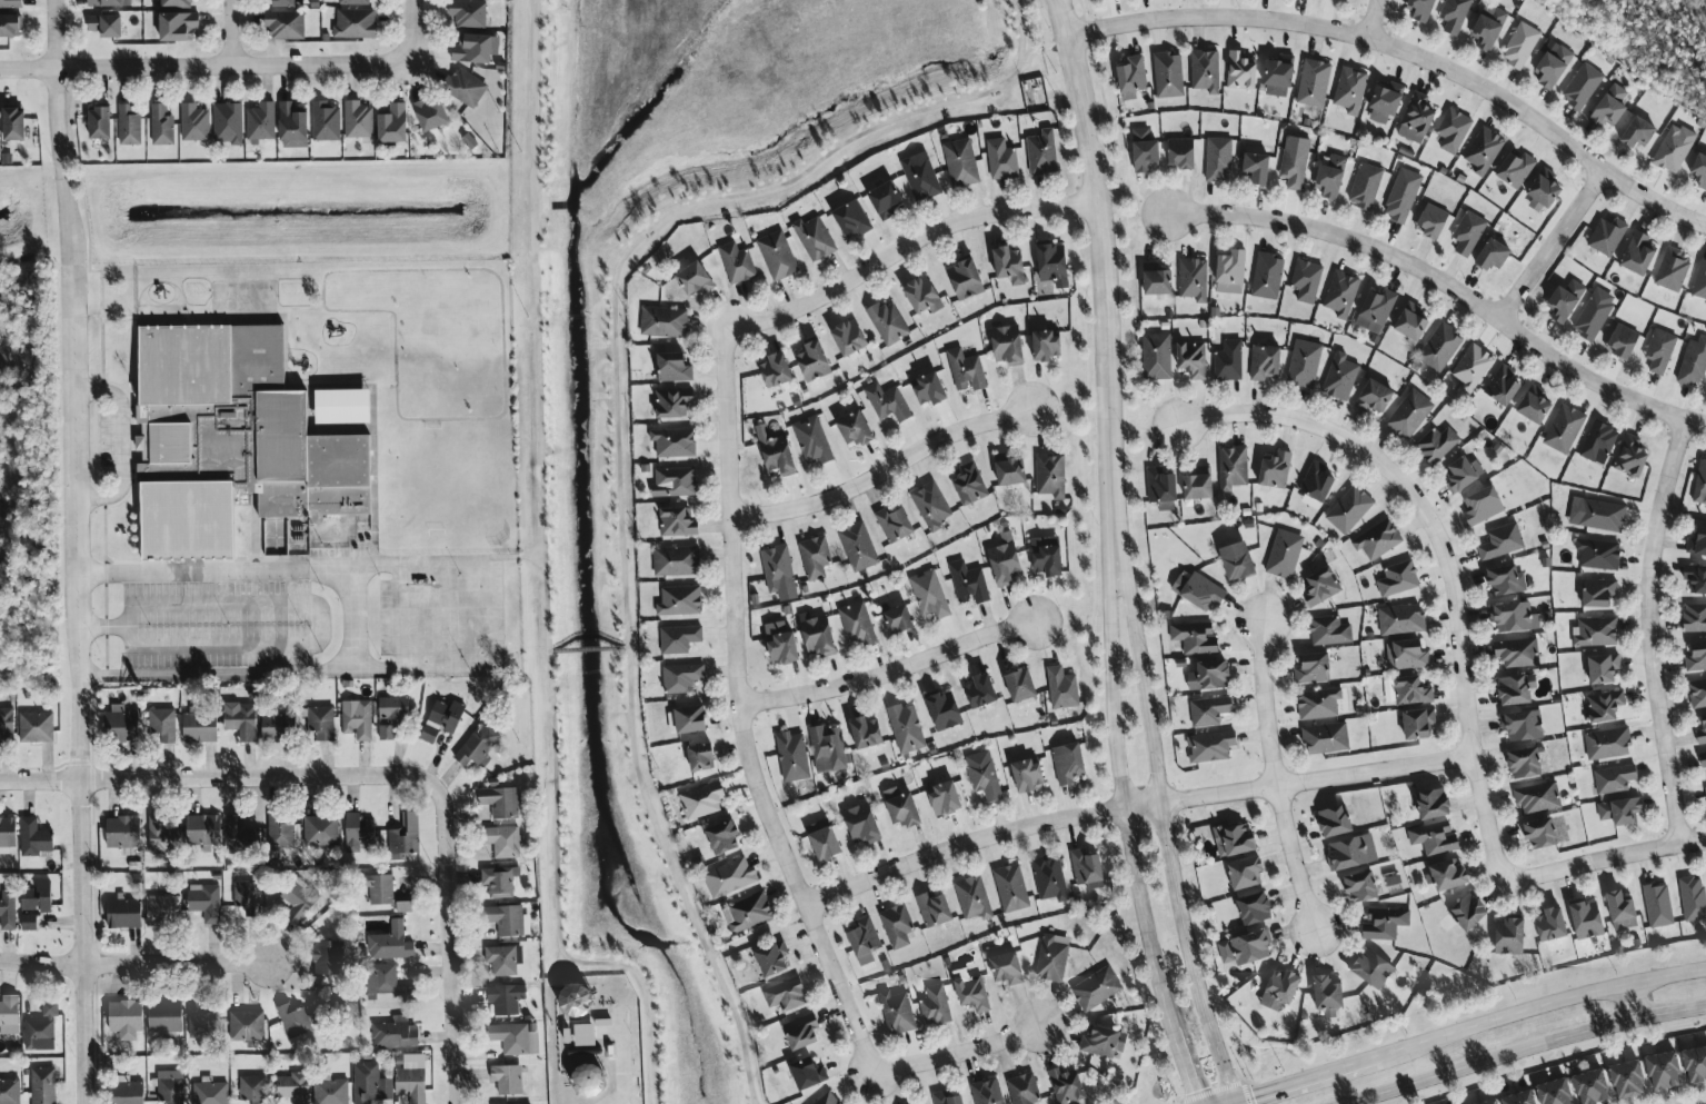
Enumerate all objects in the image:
building: (355, 2)
building: (10, 3)
building: (109, 3)
building: (176, 3)
building: (285, 3)
building: (1423, 10)
building: (468, 13)
building: (1455, 14)
road: (1371, 19)
building: (285, 24)
building: (355, 24)
building: (107, 26)
building: (10, 27)
building: (178, 27)
building: (1489, 28)
road: (413, 31)
road: (230, 33)
building: (1520, 46)
building: (476, 49)
road: (1410, 51)
road: (1042, 53)
building: (1554, 64)
road: (235, 66)
road: (28, 69)
building: (1206, 71)
building: (1241, 72)
building: (1168, 76)
building: (1279, 77)
building: (1131, 78)
building: (1314, 83)
building: (463, 87)
building: (1582, 87)
building: (1350, 90)
building: (1386, 102)
building: (1610, 108)
building: (431, 115)
building: (1417, 119)
building: (358, 120)
building: (261, 122)
building: (326, 122)
building: (100, 123)
building: (194, 123)
building: (228, 123)
building: (13, 125)
building: (393, 125)
building: (129, 126)
building: (161, 126)
building: (293, 127)
building: (1453, 130)
building: (1640, 133)
building: (1674, 149)
building: (1484, 150)
building: (1145, 152)
building: (1042, 153)
building: (1183, 153)
building: (1001, 160)
building: (1219, 160)
building: (960, 163)
building: (1697, 167)
building: (1258, 168)
building: (1294, 168)
building: (1516, 170)
building: (1333, 177)
building: (921, 179)
building: (1366, 186)
building: (1544, 191)
building: (1403, 196)
building: (886, 200)
building: (852, 220)
building: (1434, 221)
building: (1468, 233)
building: (1609, 235)
building: (815, 239)
road: (1556, 242)
road: (906, 246)
building: (1638, 253)
building: (1494, 255)
building: (777, 256)
building: (737, 263)
building: (1054, 265)
building: (1009, 266)
building: (1672, 270)
road: (1105, 272)
building: (1231, 272)
building: (1267, 277)
building: (695, 279)
building: (1158, 279)
building: (1194, 279)
road: (1449, 279)
building: (966, 280)
building: (1307, 281)
building: (1699, 281)
building: (1341, 294)
building: (924, 296)
building: (1566, 301)
building: (1376, 310)
building: (1594, 315)
building: (664, 322)
building: (888, 322)
building: (1411, 322)
building: (850, 339)
building: (1624, 341)
building: (1008, 345)
building: (1047, 347)
building: (1440, 348)
building: (1659, 350)
building: (1157, 357)
building: (1193, 359)
building: (1228, 361)
building: (814, 362)
building: (1265, 362)
building: (1693, 362)
building: (1304, 364)
building: (674, 368)
building: (1473, 368)
building: (777, 371)
building: (966, 371)
building: (1339, 377)
building: (1504, 386)
building: (930, 389)
building: (1375, 397)
building: (888, 402)
building: (674, 404)
building: (1535, 405)
building: (1409, 415)
park: (572, 416)
road: (619, 429)
building: (857, 429)
building: (1564, 429)
building: (238, 439)
building: (812, 440)
building: (674, 442)
building: (1598, 442)
road: (121, 444)
building: (1437, 445)
building: (779, 456)
building: (1630, 456)
building: (1233, 468)
building: (1276, 470)
building: (1011, 471)
building: (1464, 474)
road: (880, 475)
building: (1051, 477)
building: (675, 483)
building: (1700, 483)
building: (970, 485)
building: (1199, 485)
building: (1161, 486)
building: (1317, 487)
building: (1484, 505)
building: (931, 507)
building: (1349, 509)
building: (1597, 514)
building: (678, 523)
building: (895, 525)
building: (1378, 539)
building: (1502, 541)
building: (1698, 541)
building: (858, 547)
road: (76, 550)
building: (1285, 554)
building: (1598, 554)
building: (1048, 555)
building: (816, 556)
road: (512, 557)
building: (1005, 559)
building: (1239, 559)
building: (676, 560)
building: (777, 566)
road: (1451, 567)
building: (1398, 578)
building: (1506, 579)
building: (1697, 580)
building: (968, 583)
road: (548, 584)
building: (1321, 586)
building: (1199, 589)
building: (1599, 593)
building: (930, 594)
building: (680, 600)
road: (486, 611)
building: (1514, 617)
building: (898, 618)
building: (1690, 618)
building: (1401, 619)
road: (358, 620)
building: (857, 624)
road: (1655, 628)
building: (1330, 630)
building: (1596, 631)
building: (818, 635)
building: (1196, 637)
building: (679, 638)
road: (312, 644)
building: (784, 648)
road: (591, 649)
building: (1517, 653)
building: (1407, 654)
building: (1695, 658)
building: (1186, 663)
road: (891, 665)
building: (1604, 667)
building: (1314, 668)
building: (1210, 674)
building: (682, 677)
building: (1021, 685)
building: (1062, 687)
building: (1516, 689)
building: (981, 690)
building: (1411, 690)
building: (1697, 690)
building: (1319, 703)
building: (1605, 705)
building: (393, 708)
building: (945, 709)
building: (1210, 709)
road: (751, 710)
building: (691, 718)
building: (240, 719)
building: (357, 719)
building: (442, 719)
building: (1702, 719)
building: (7, 722)
building: (320, 723)
building: (121, 724)
building: (162, 724)
building: (1419, 724)
building: (1523, 725)
building: (36, 726)
building: (277, 726)
building: (200, 727)
building: (906, 728)
building: (386, 732)
building: (867, 732)
building: (1326, 737)
building: (1697, 737)
building: (1607, 743)
building: (478, 746)
building: (1210, 746)
building: (828, 748)
building: (792, 756)
building: (701, 757)
building: (1700, 758)
building: (1068, 762)
building: (1526, 763)
building: (984, 774)
building: (1028, 775)
road: (194, 777)
road: (1280, 778)
building: (1615, 778)
building: (1705, 788)
road: (1134, 790)
building: (946, 797)
building: (1537, 797)
building: (501, 800)
building: (702, 800)
building: (1434, 803)
building: (902, 807)
building: (1620, 810)
road: (1144, 813)
building: (1335, 820)
building: (862, 824)
road: (1167, 827)
building: (203, 829)
building: (240, 831)
building: (321, 831)
building: (122, 832)
building: (359, 832)
building: (280, 833)
building: (1542, 833)
building: (7, 835)
building: (162, 836)
building: (405, 836)
building: (722, 836)
building: (33, 837)
building: (1435, 838)
building: (1235, 839)
building: (825, 841)
building: (505, 842)
building: (1353, 852)
road: (1606, 862)
building: (1088, 869)
building: (1247, 873)
building: (1447, 876)
building: (729, 877)
building: (1049, 878)
building: (1395, 879)
building: (499, 881)
building: (1361, 885)
building: (1011, 888)
building: (381, 889)
building: (38, 897)
building: (247, 897)
building: (974, 897)
building: (1693, 898)
building: (206, 902)
building: (297, 903)
building: (405, 904)
building: (1657, 905)
building: (935, 907)
building: (1255, 908)
building: (8, 909)
building: (1622, 909)
building: (162, 911)
building: (748, 912)
building: (1469, 912)
building: (123, 913)
road: (452, 916)
building: (508, 919)
building: (1587, 919)
building: (29, 922)
building: (1385, 923)
building: (1553, 924)
building: (897, 925)
road: (767, 936)
building: (1510, 936)
building: (865, 941)
building: (391, 943)
building: (1246, 947)
building: (328, 957)
building: (1052, 957)
building: (774, 958)
building: (503, 959)
road: (133, 964)
building: (1006, 966)
building: (1374, 968)
building: (385, 982)
building: (1097, 988)
building: (971, 989)
building: (1281, 989)
building: (786, 994)
building: (1328, 995)
road: (1630, 997)
building: (506, 998)
building: (576, 998)
road: (1554, 1001)
building: (935, 1005)
building: (897, 1012)
building: (9, 1014)
building: (126, 1016)
building: (166, 1016)
building: (295, 1020)
building: (198, 1021)
building: (247, 1026)
building: (41, 1028)
building: (802, 1032)
building: (395, 1033)
building: (515, 1038)
building: (1104, 1042)
road: (1528, 1048)
road: (958, 1051)
road: (620, 1061)
building: (1695, 1064)
road: (1187, 1065)
building: (1665, 1070)
building: (808, 1073)
road: (1315, 1075)
traffic signals: (1190, 1077)
building: (507, 1078)
building: (590, 1080)
building: (1628, 1080)
building: (411, 1082)
building: (370, 1084)
building: (43, 1085)
building: (170, 1086)
building: (295, 1086)
building: (1068, 1087)
building: (1593, 1087)
building: (252, 1090)
building: (1024, 1090)
building: (10, 1091)
building: (127, 1091)
building: (330, 1091)
building: (987, 1092)
building: (1556, 1092)
building: (210, 1093)
traffic signals: (1249, 1096)
building: (1520, 1097)
building: (947, 1098)
building: (828, 1100)
road: (1235, 1102)
building: (1491, 1102)
road: (460, 1103)

